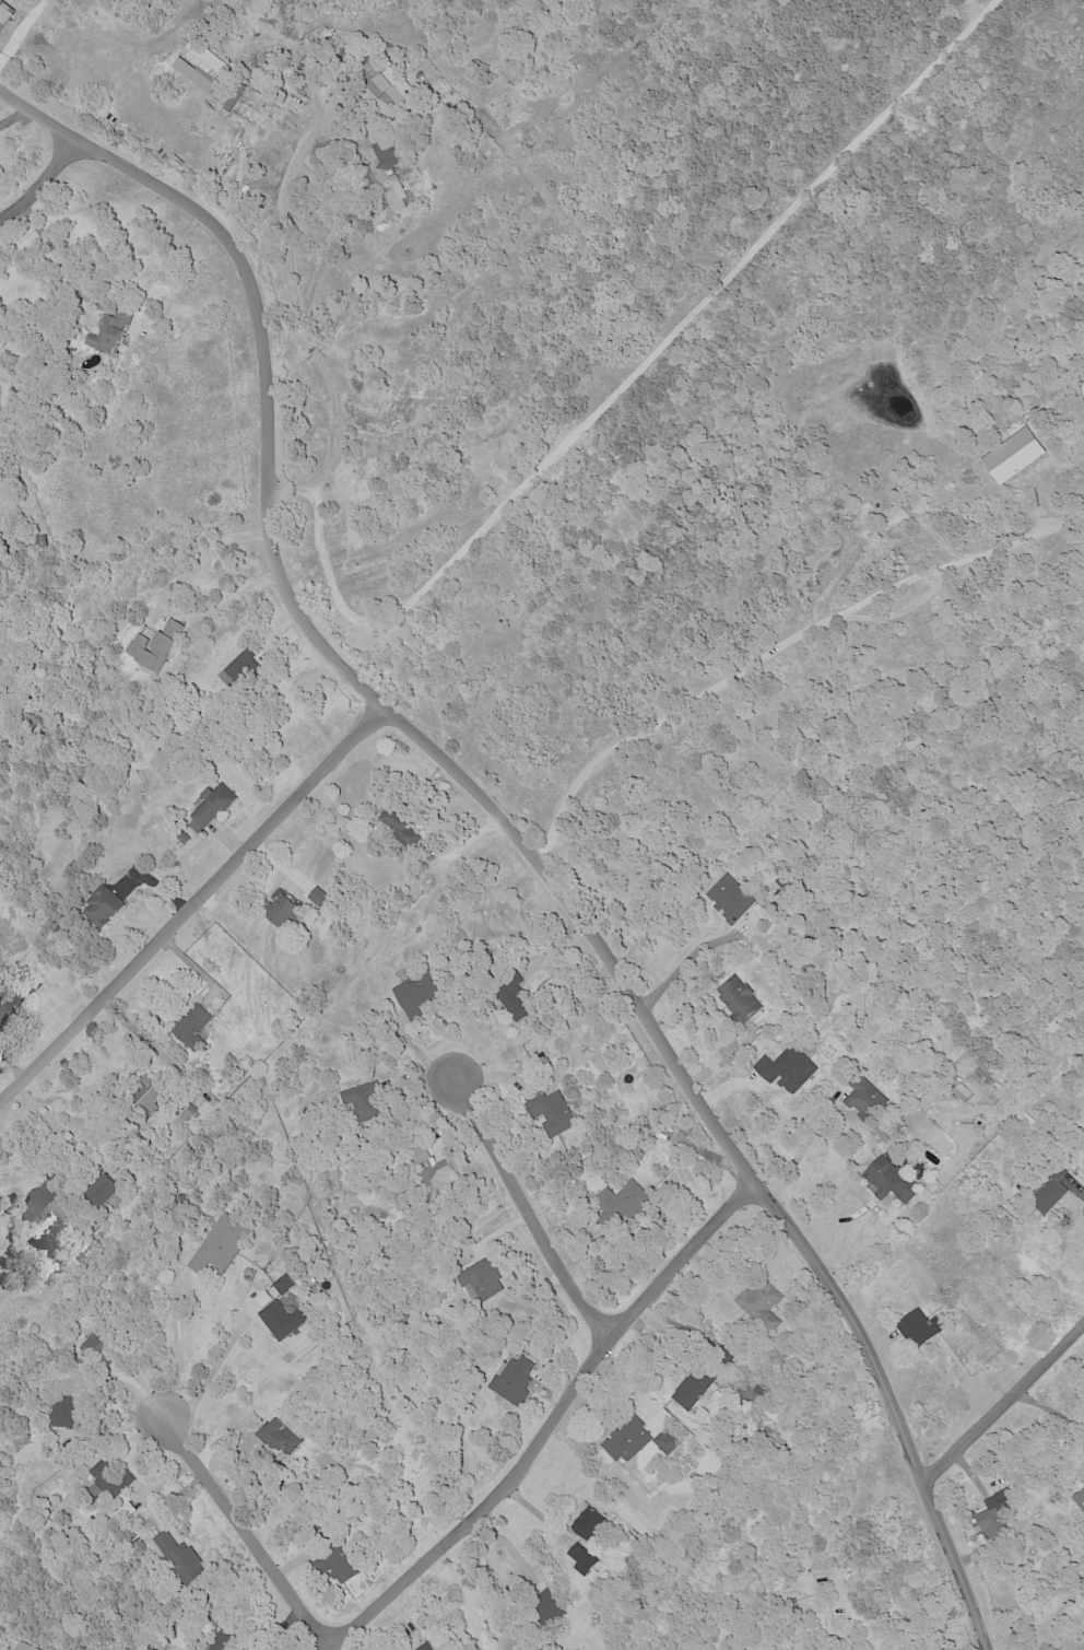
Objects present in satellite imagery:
building: (4, 13)
building: (205, 57)
building: (192, 75)
building: (386, 90)
building: (384, 183)
road: (43, 190)
road: (61, 260)
road: (318, 273)
building: (108, 306)
road: (297, 306)
building: (107, 332)
road: (616, 390)
building: (1081, 393)
building: (1012, 456)
building: (38, 541)
road: (166, 597)
road: (778, 645)
building: (153, 646)
building: (210, 809)
road: (505, 824)
building: (317, 896)
building: (729, 900)
building: (101, 905)
road: (191, 912)
building: (280, 912)
road: (679, 969)
building: (25, 985)
building: (415, 991)
building: (510, 996)
building: (739, 999)
building: (11, 1004)
building: (0, 1009)
building: (191, 1025)
building: (786, 1069)
building: (961, 1092)
building: (861, 1093)
building: (141, 1099)
building: (357, 1103)
building: (550, 1112)
building: (186, 1113)
road: (54, 1130)
road: (797, 1155)
building: (433, 1174)
building: (887, 1180)
road: (1075, 1189)
building: (101, 1190)
building: (1048, 1193)
building: (623, 1201)
building: (33, 1205)
road: (529, 1216)
road: (502, 1230)
road: (871, 1244)
building: (219, 1245)
building: (480, 1279)
road: (512, 1280)
building: (759, 1304)
building: (278, 1315)
building: (918, 1327)
road: (177, 1339)
building: (95, 1347)
road: (213, 1370)
building: (511, 1379)
building: (693, 1388)
building: (749, 1392)
road: (1003, 1402)
road: (1056, 1415)
building: (68, 1423)
road: (551, 1425)
building: (278, 1438)
building: (626, 1440)
building: (665, 1442)
building: (108, 1479)
building: (1079, 1499)
building: (990, 1521)
building: (586, 1523)
road: (249, 1534)
building: (179, 1558)
building: (580, 1558)
building: (337, 1568)
building: (543, 1608)
road: (900, 1625)
building: (22, 1647)
building: (425, 1647)
building: (198, 1649)

